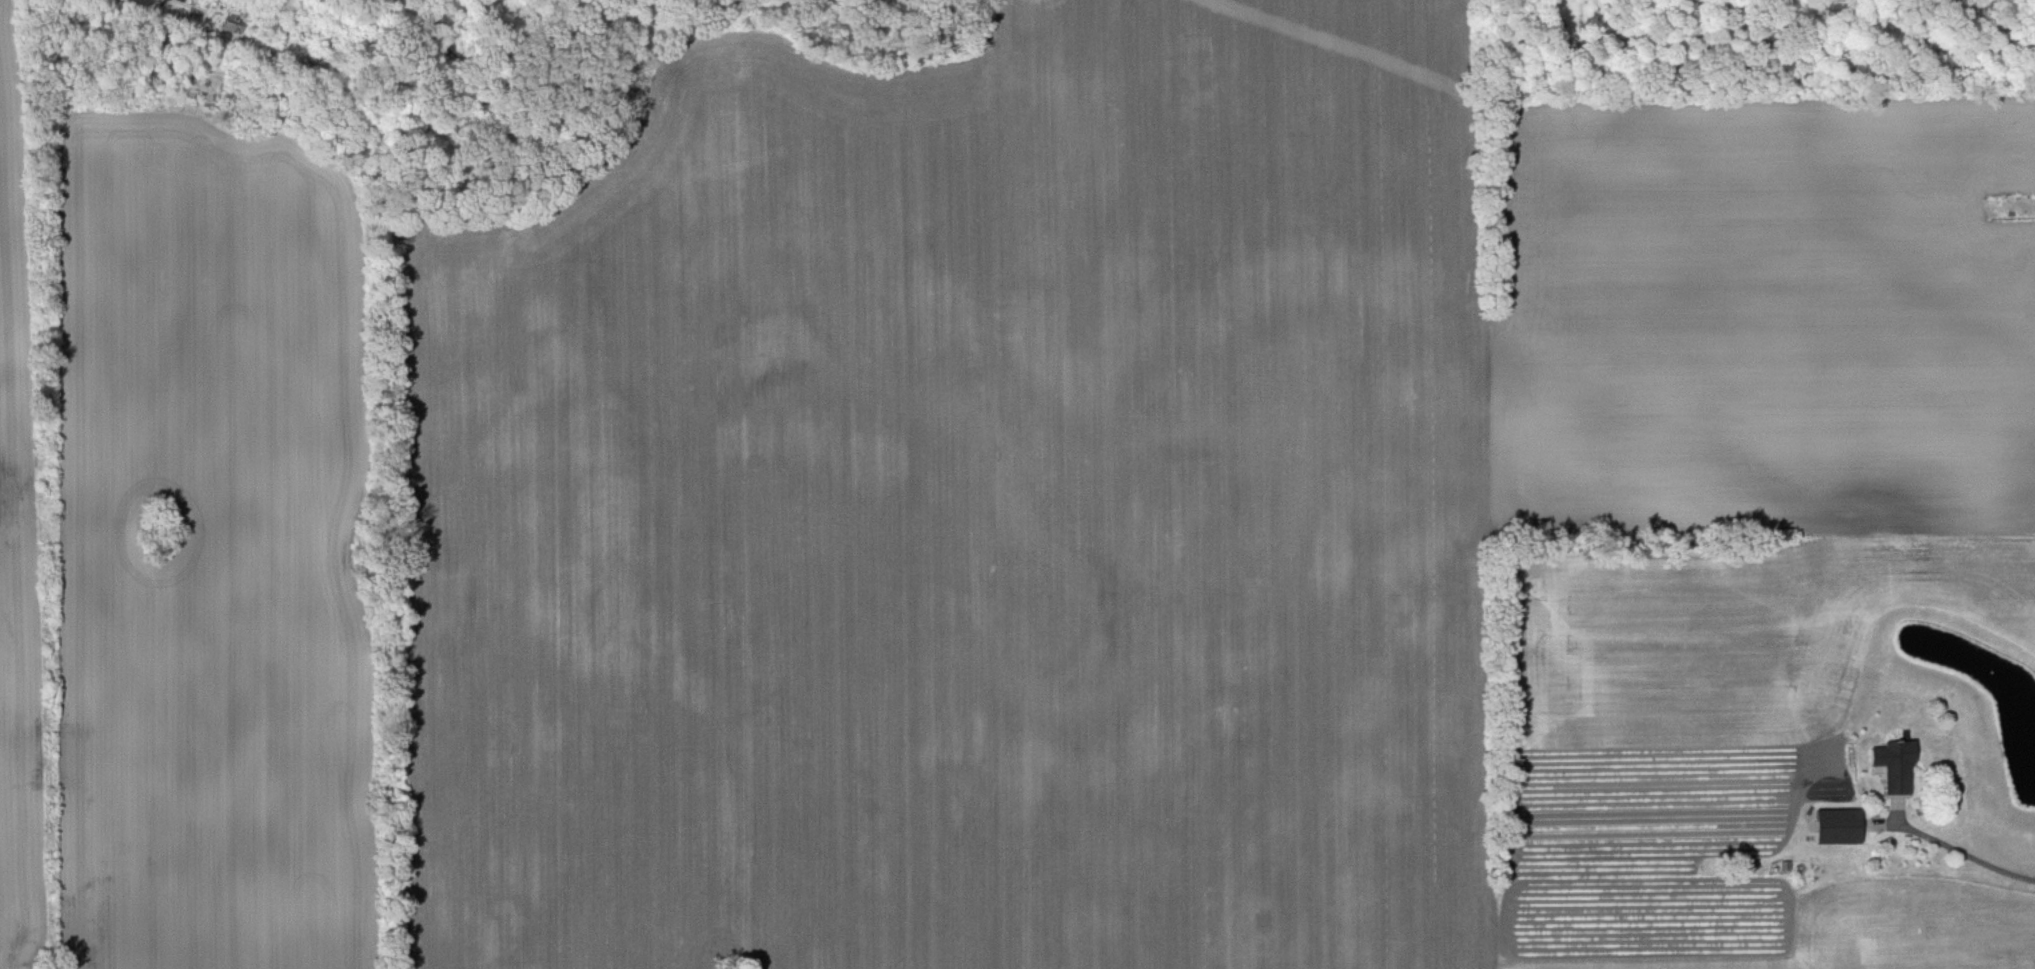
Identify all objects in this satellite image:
building: (2011, 207)
building: (1892, 766)
building: (1835, 826)
road: (1969, 855)

